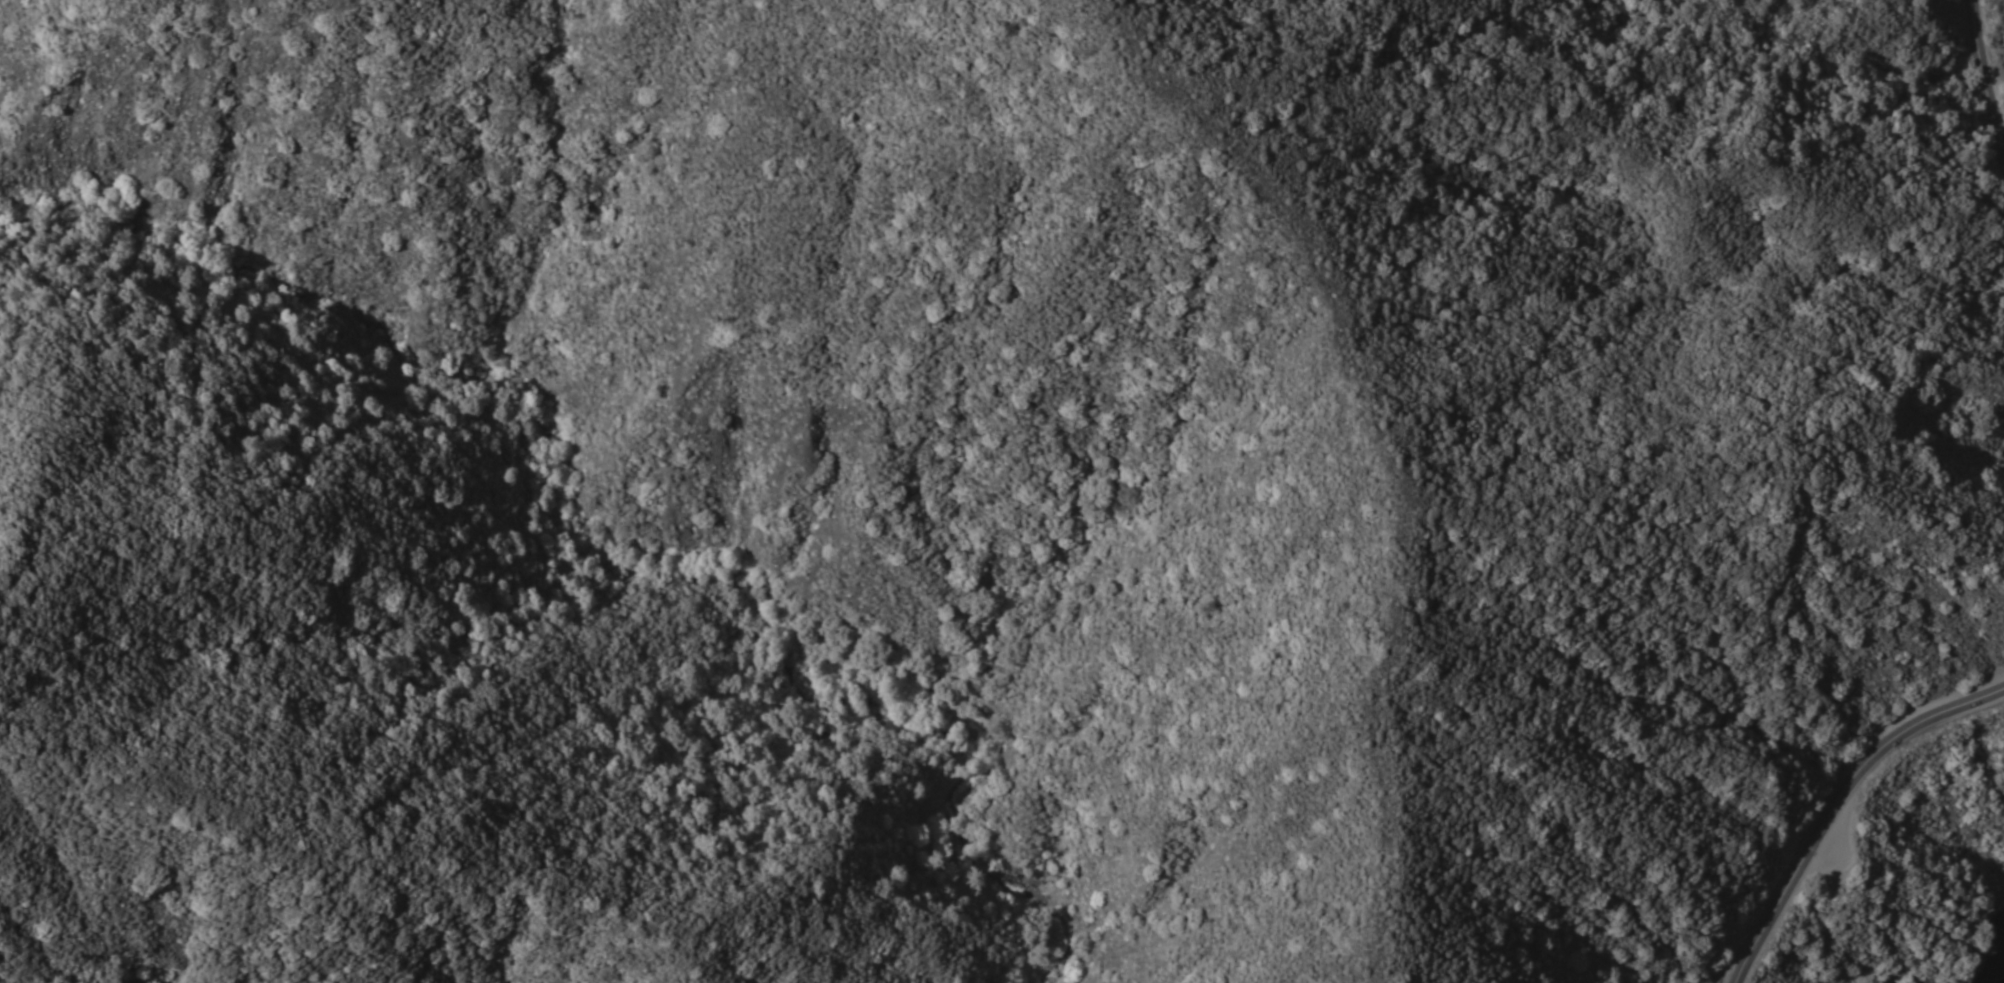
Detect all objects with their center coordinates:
road: (1985, 71)
road: (1834, 798)
parking lot: (1834, 848)

